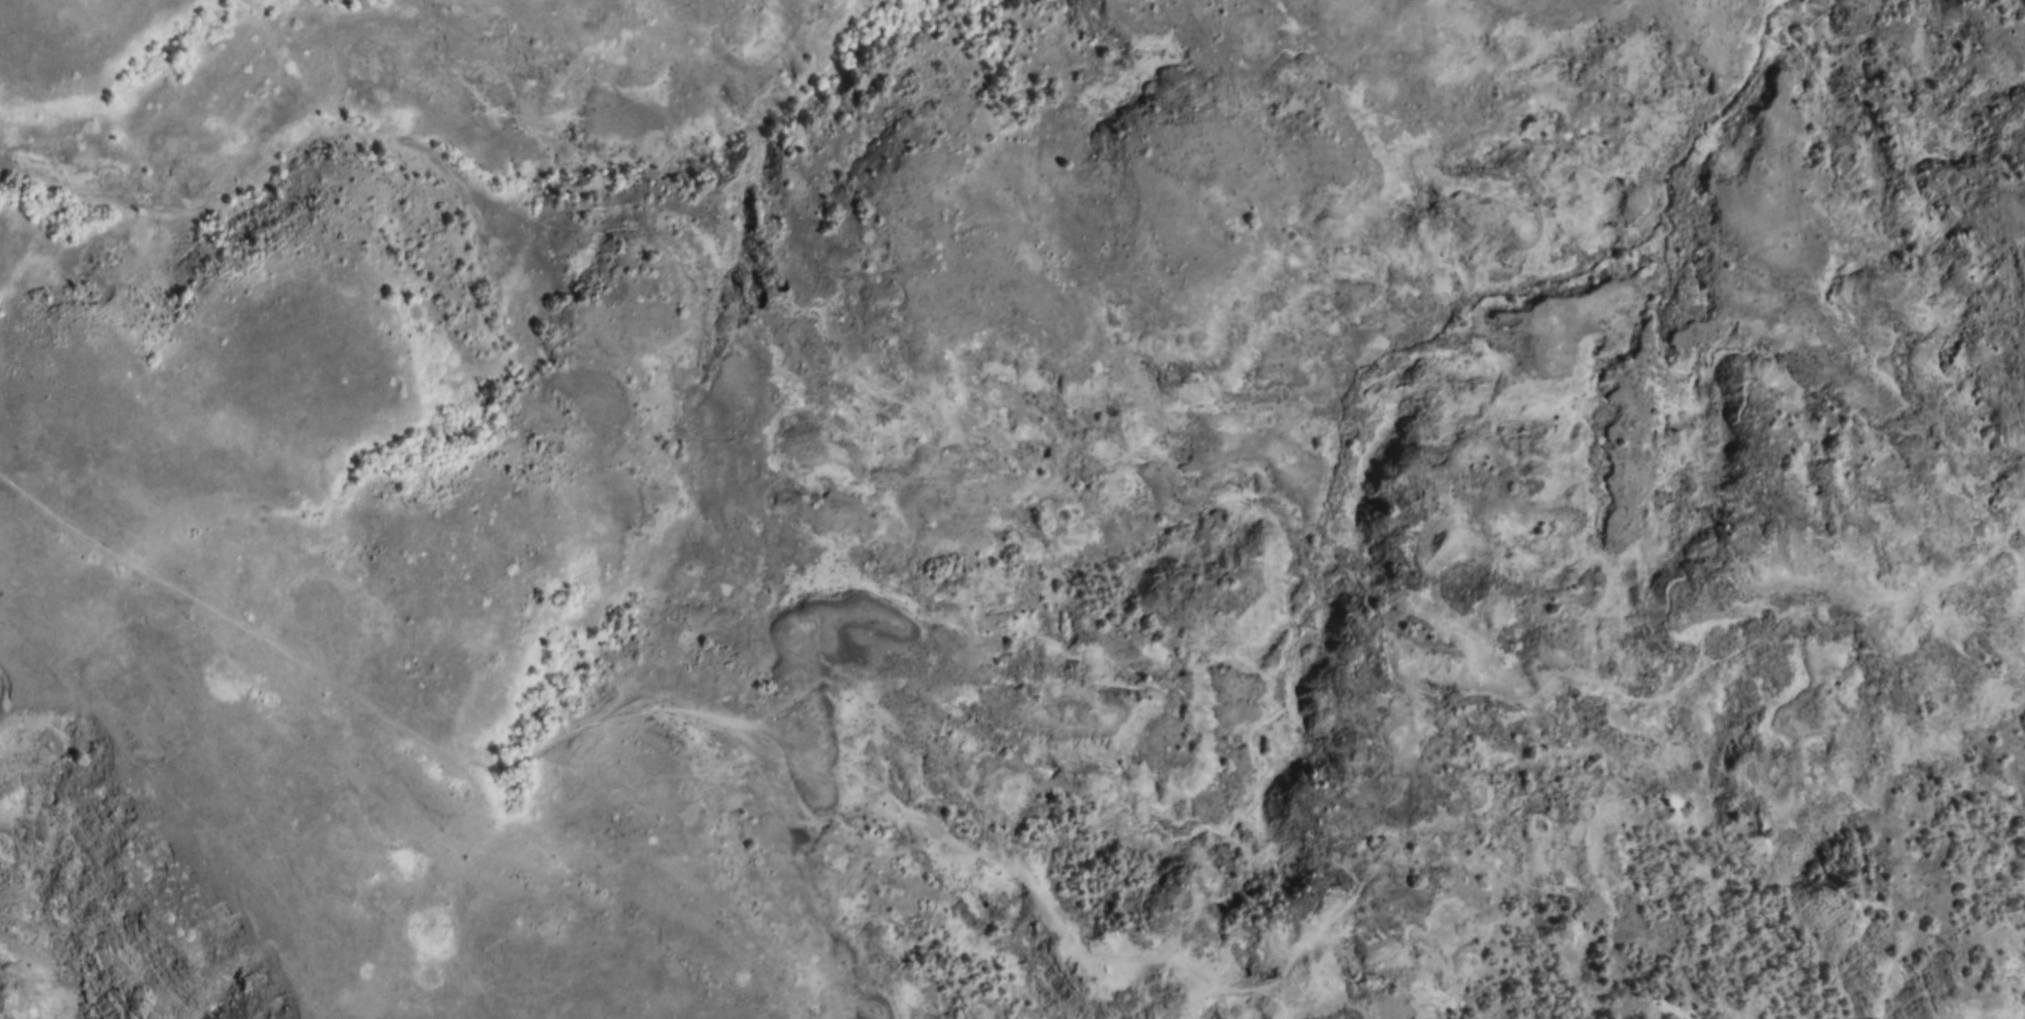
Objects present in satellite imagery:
road: (1034, 887)

